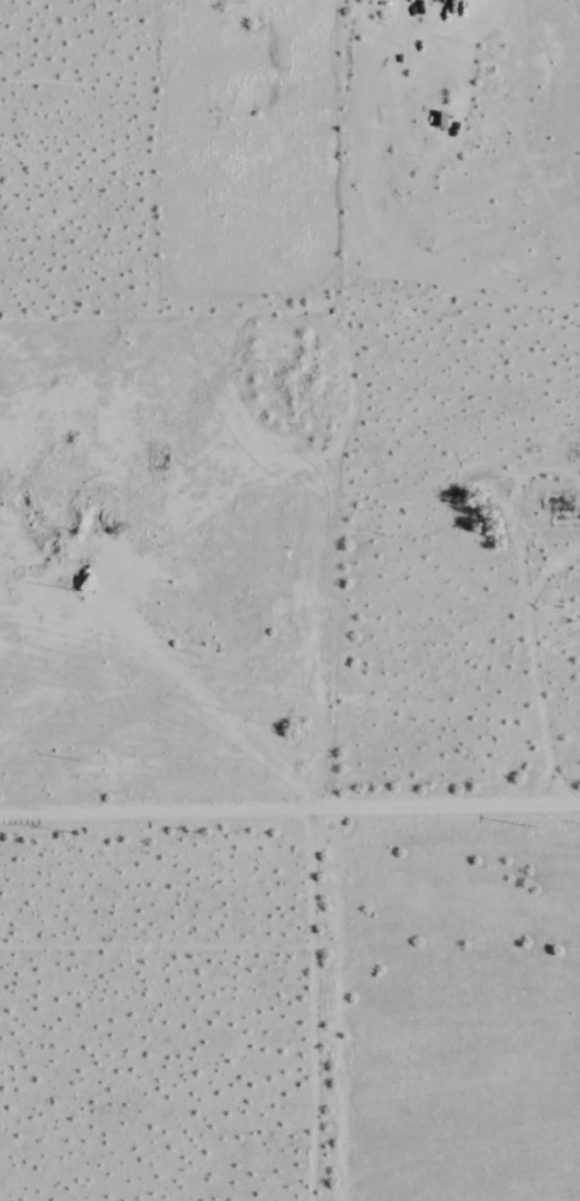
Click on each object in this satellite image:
road: (160, 333)
road: (323, 572)
road: (289, 806)
road: (338, 1002)

